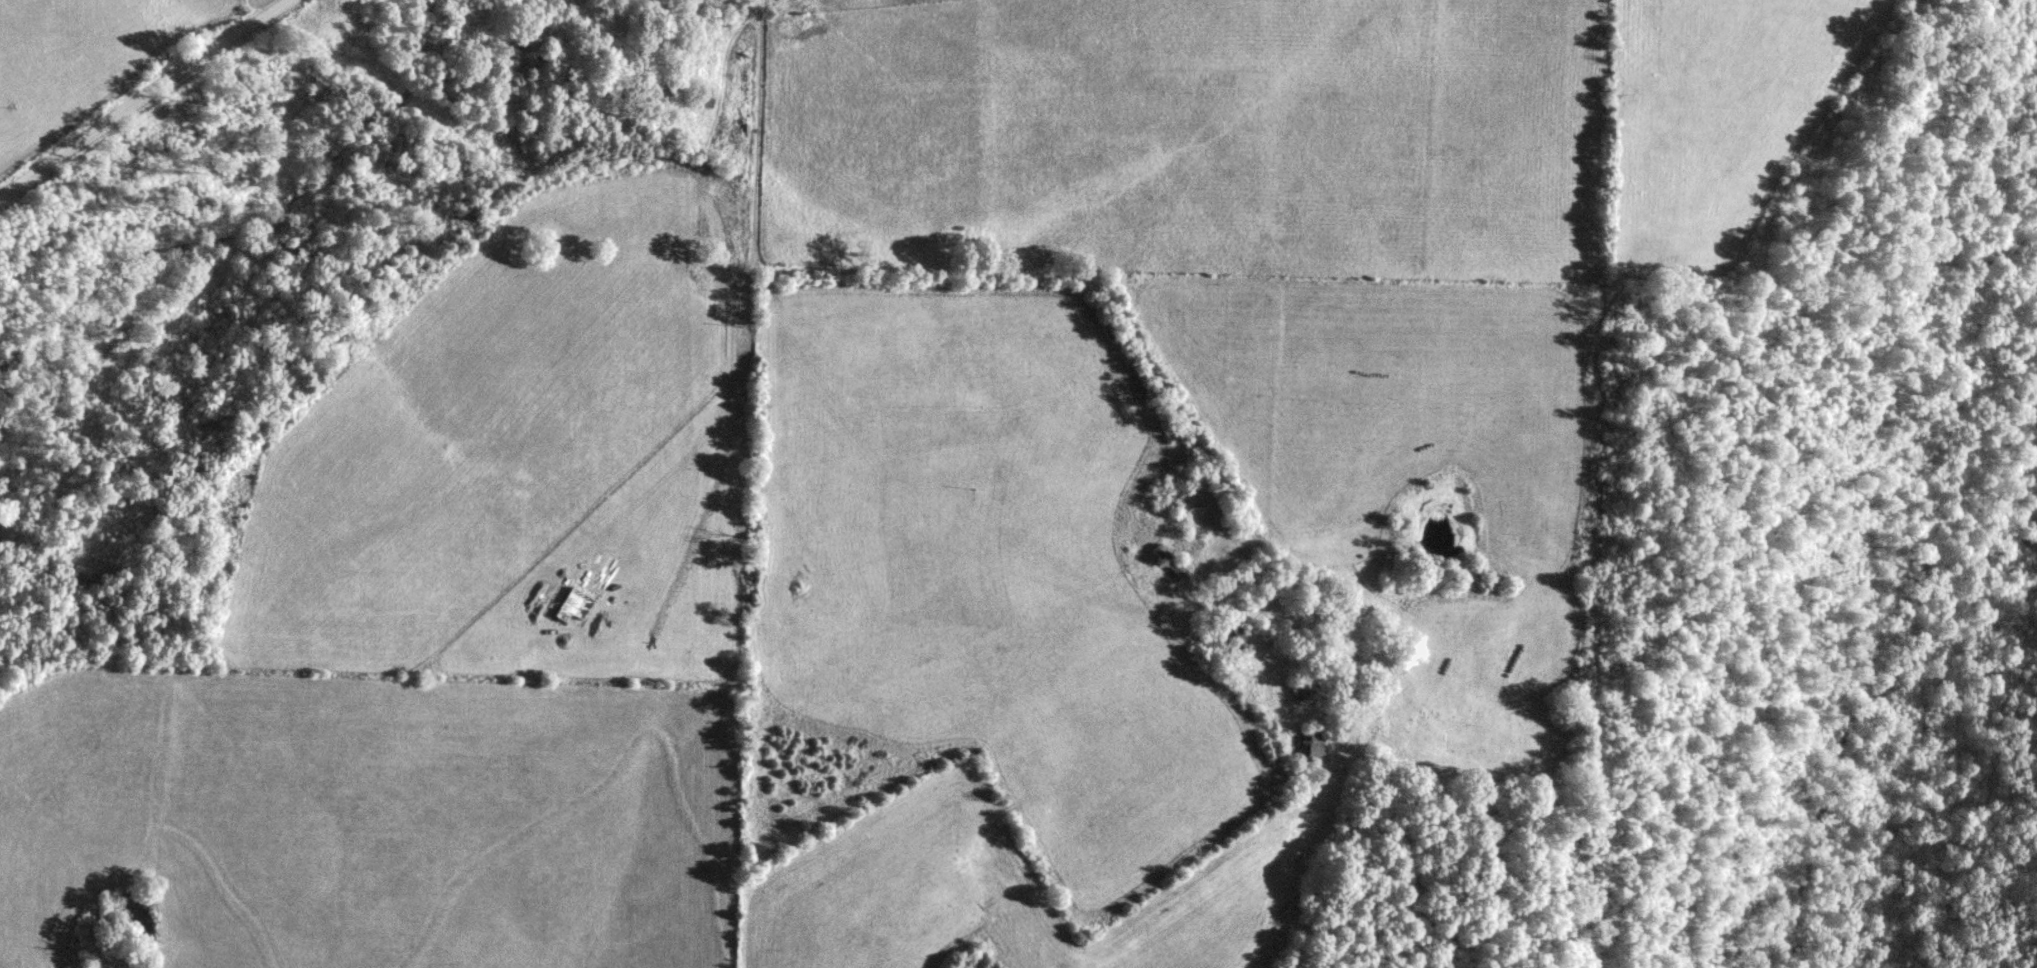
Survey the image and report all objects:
road: (149, 103)
road: (1049, 278)
building: (1318, 749)

